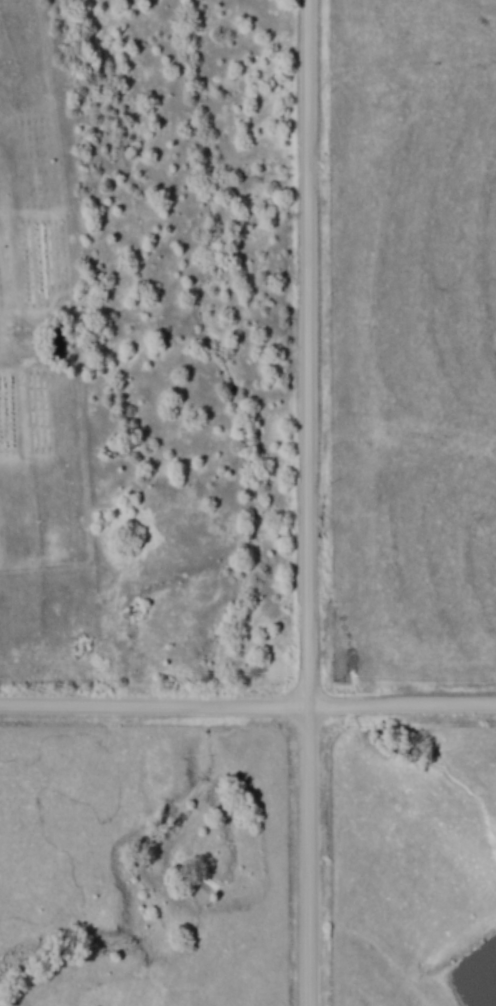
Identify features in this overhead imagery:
road: (310, 503)
road: (248, 709)

